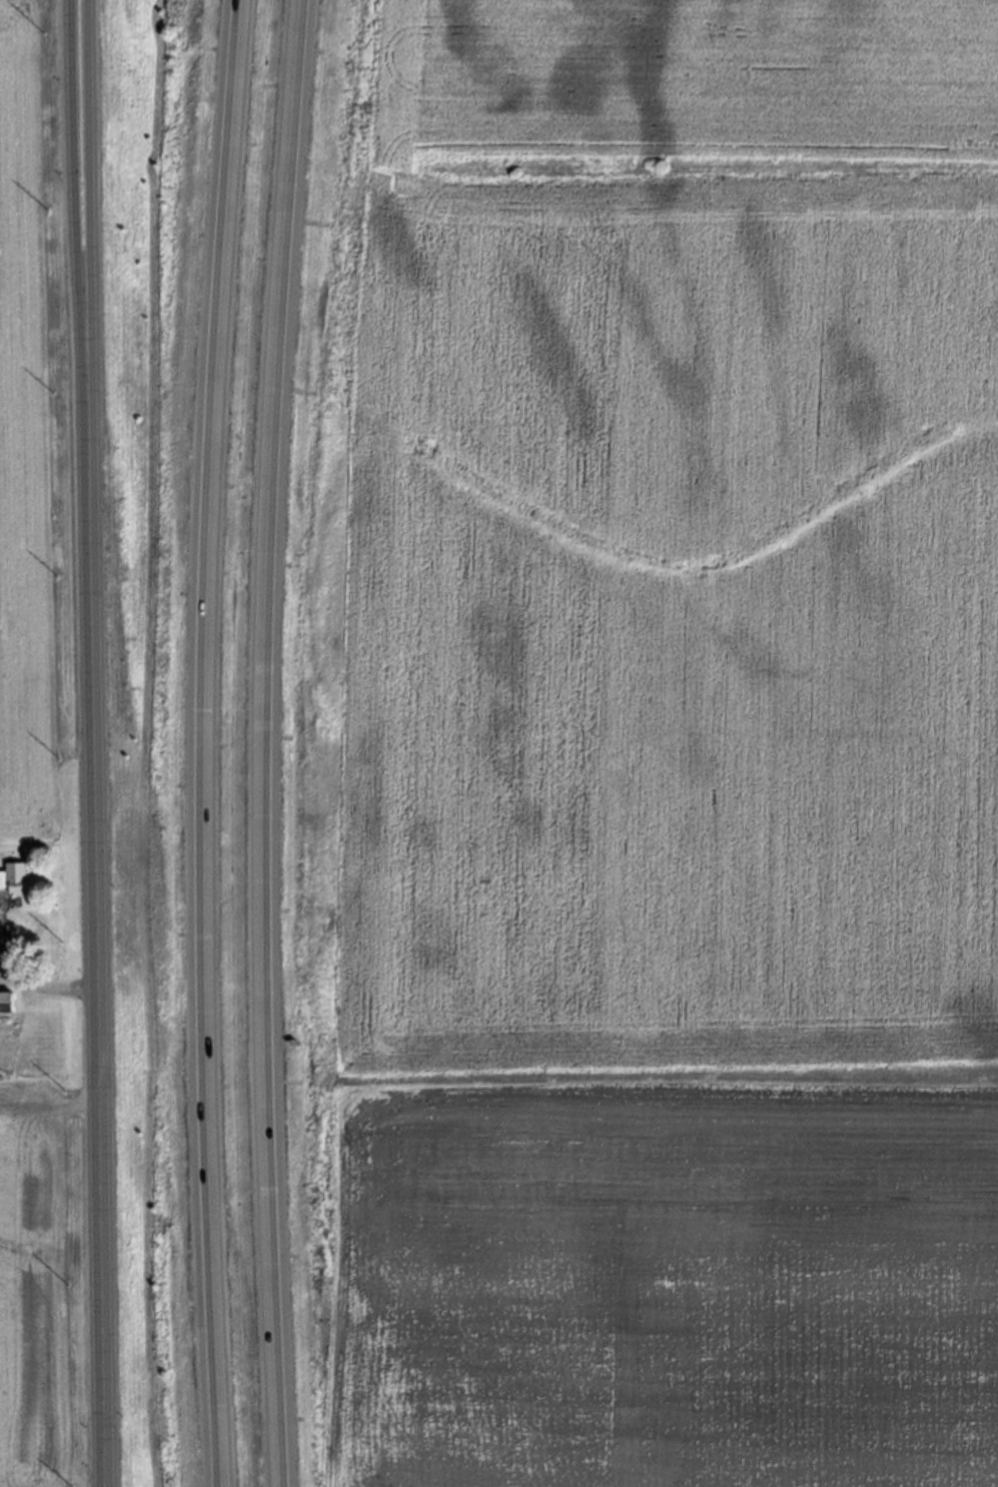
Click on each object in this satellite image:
road: (73, 153)
road: (84, 153)
crop: (36, 440)
road: (258, 742)
road: (201, 743)
building: (11, 877)
road: (93, 896)
road: (43, 988)
building: (4, 1000)
crop: (44, 1284)

